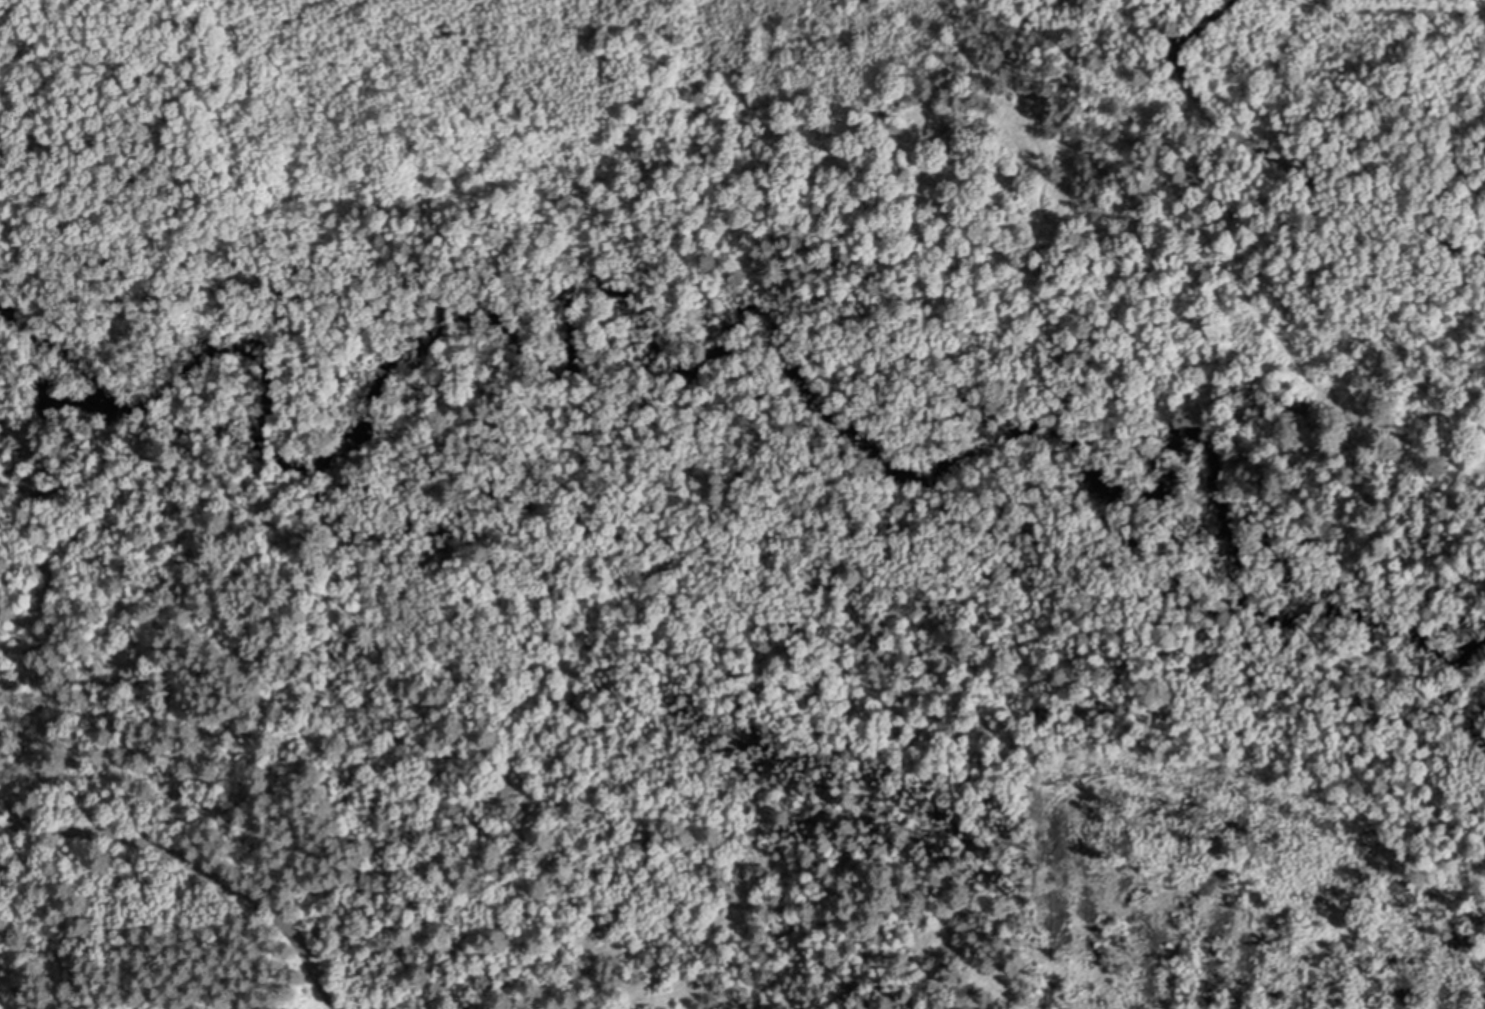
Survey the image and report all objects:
road: (193, 865)

